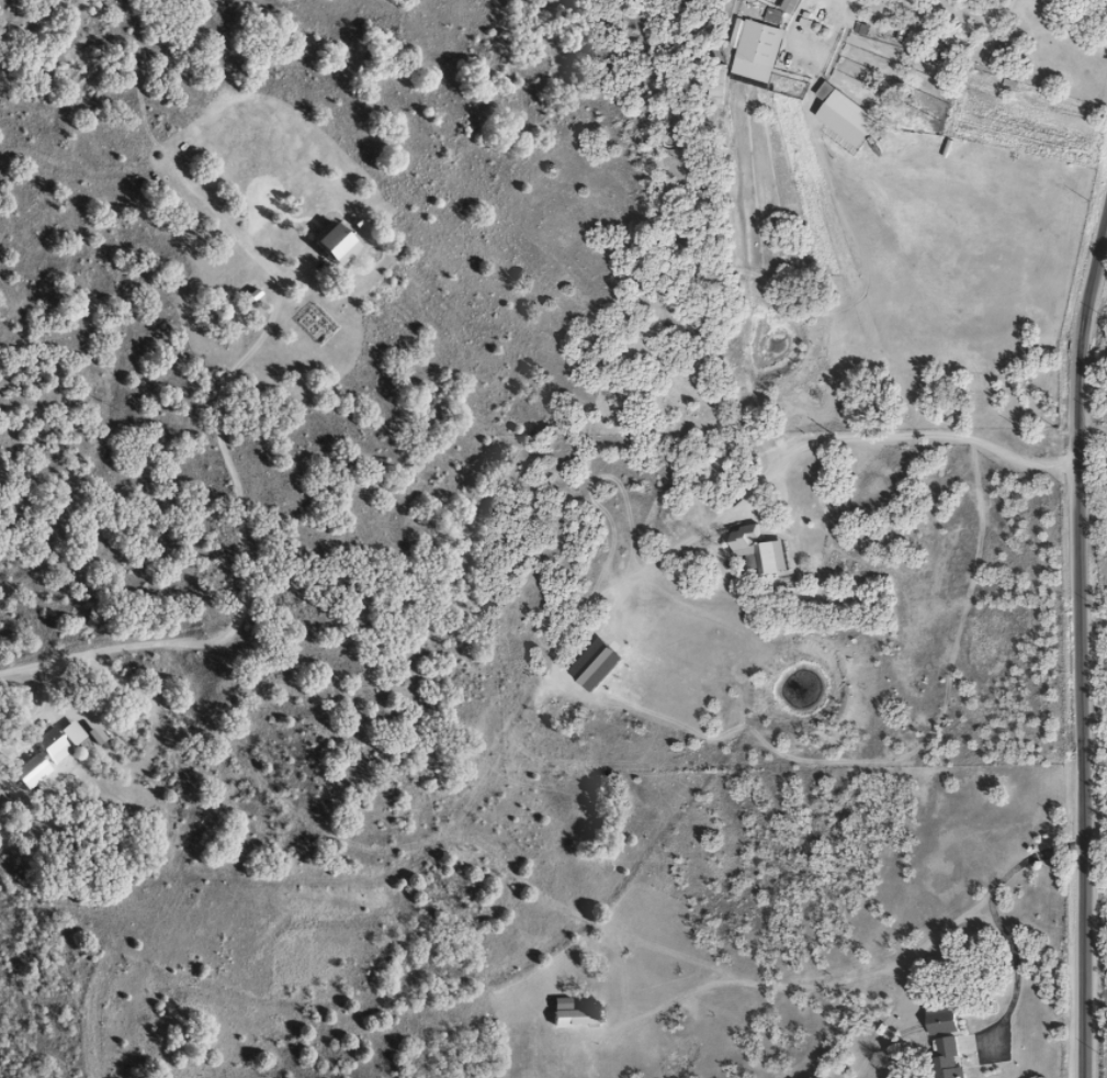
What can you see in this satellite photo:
road: (132, 29)
building: (755, 50)
building: (850, 111)
building: (329, 243)
building: (757, 549)
road: (1038, 592)
building: (597, 660)
building: (46, 743)
building: (940, 1015)
building: (569, 1019)
building: (948, 1057)

